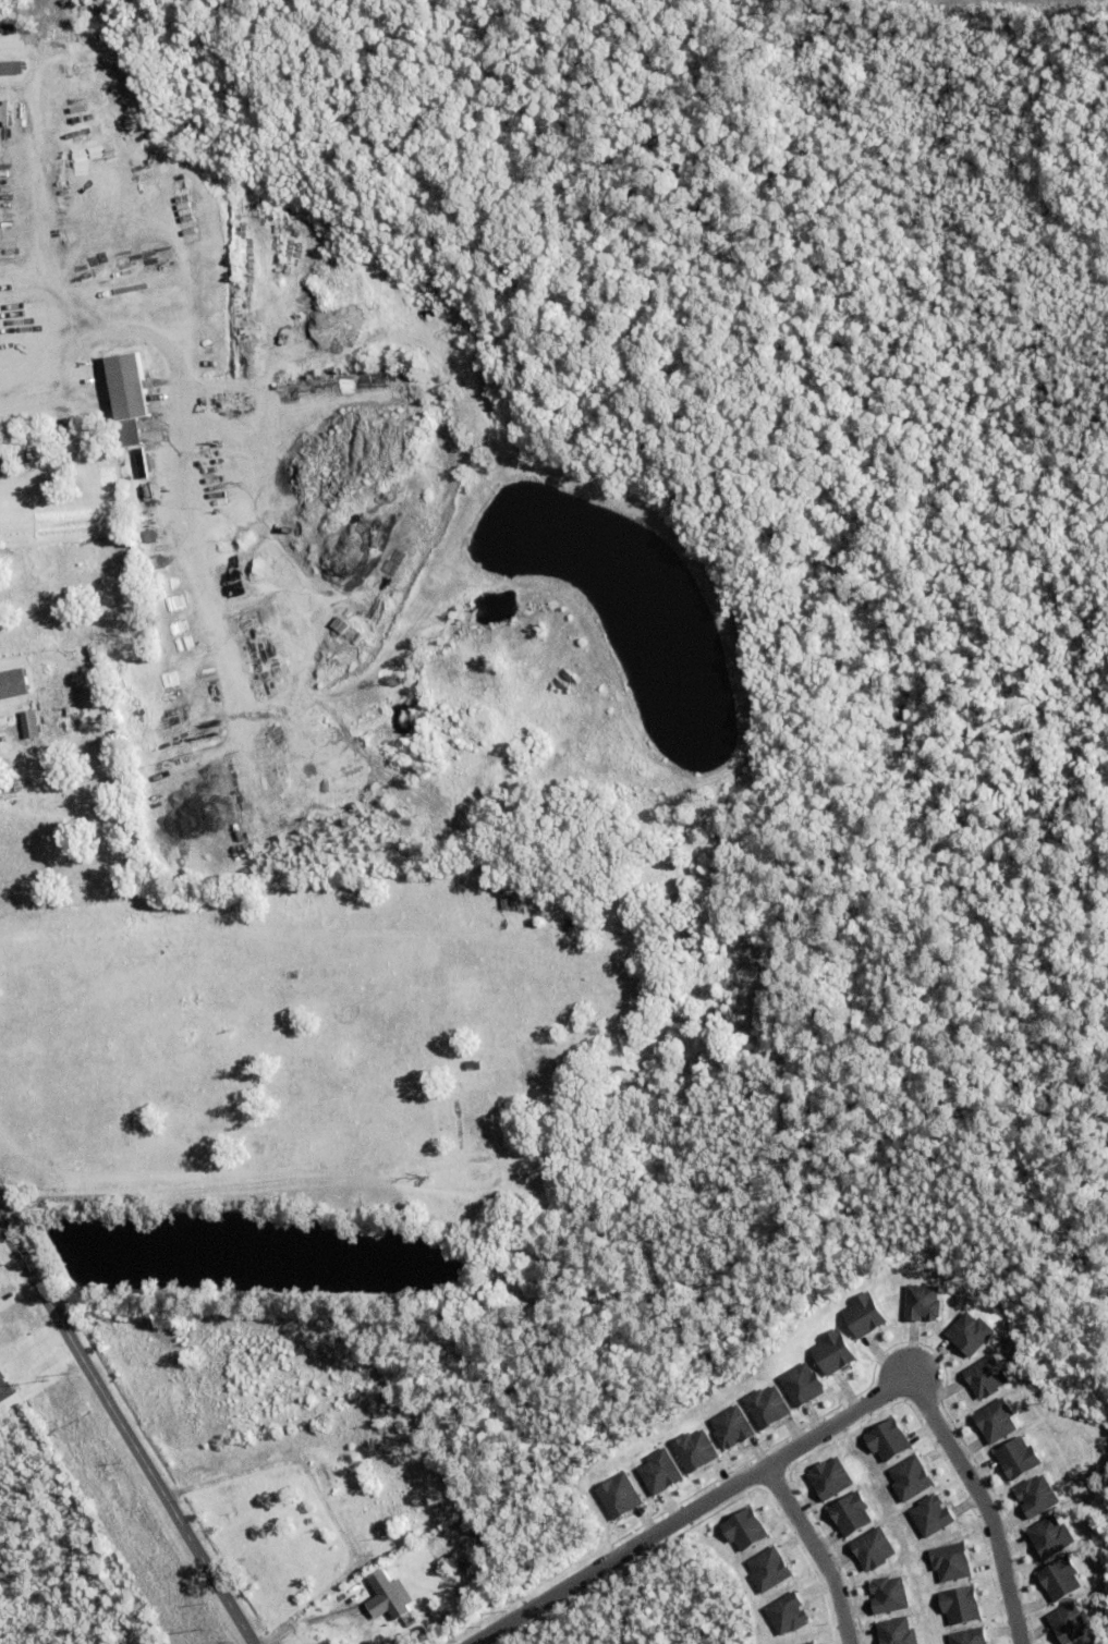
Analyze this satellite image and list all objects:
building: (8, 31)
building: (0, 70)
building: (241, 261)
building: (129, 435)
road: (180, 447)
building: (9, 459)
building: (136, 459)
building: (70, 656)
building: (12, 683)
building: (27, 727)
building: (473, 1063)
building: (922, 1301)
building: (863, 1313)
building: (970, 1331)
building: (832, 1350)
building: (985, 1375)
building: (801, 1383)
building: (4, 1389)
building: (766, 1404)
building: (996, 1420)
building: (730, 1426)
road: (126, 1432)
building: (887, 1438)
building: (694, 1449)
building: (1018, 1457)
building: (659, 1471)
building: (325, 1475)
road: (228, 1476)
building: (829, 1476)
building: (910, 1477)
building: (618, 1494)
building: (1036, 1495)
road: (982, 1503)
road: (692, 1510)
building: (851, 1512)
building: (930, 1514)
building: (743, 1527)
building: (1050, 1535)
building: (873, 1547)
road: (815, 1550)
building: (950, 1561)
building: (768, 1568)
building: (1060, 1578)
building: (391, 1583)
building: (888, 1594)
building: (960, 1605)
building: (787, 1612)
road: (304, 1618)
building: (1070, 1621)
building: (896, 1631)
building: (969, 1636)
building: (808, 1642)
building: (1087, 1642)

